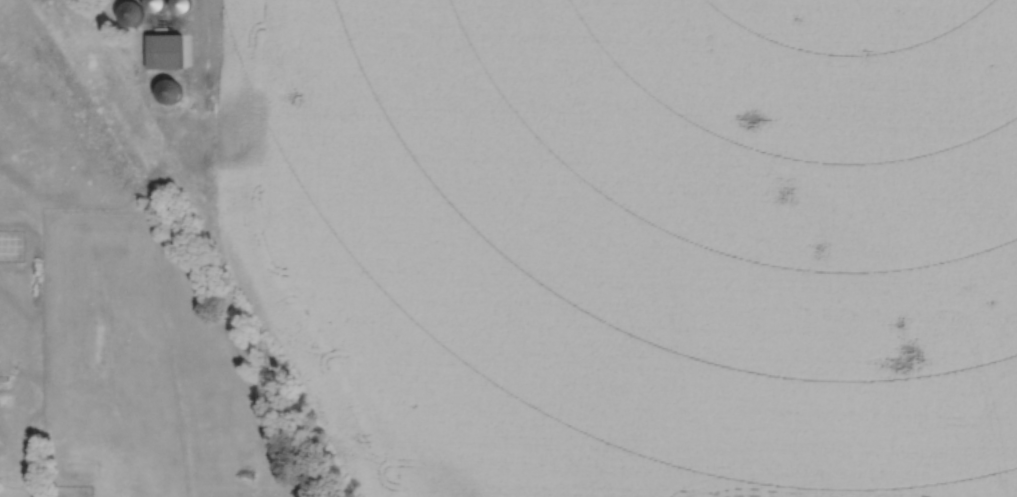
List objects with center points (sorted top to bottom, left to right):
building: (157, 4)
building: (181, 5)
building: (131, 12)
building: (166, 51)
road: (208, 57)
building: (170, 91)

